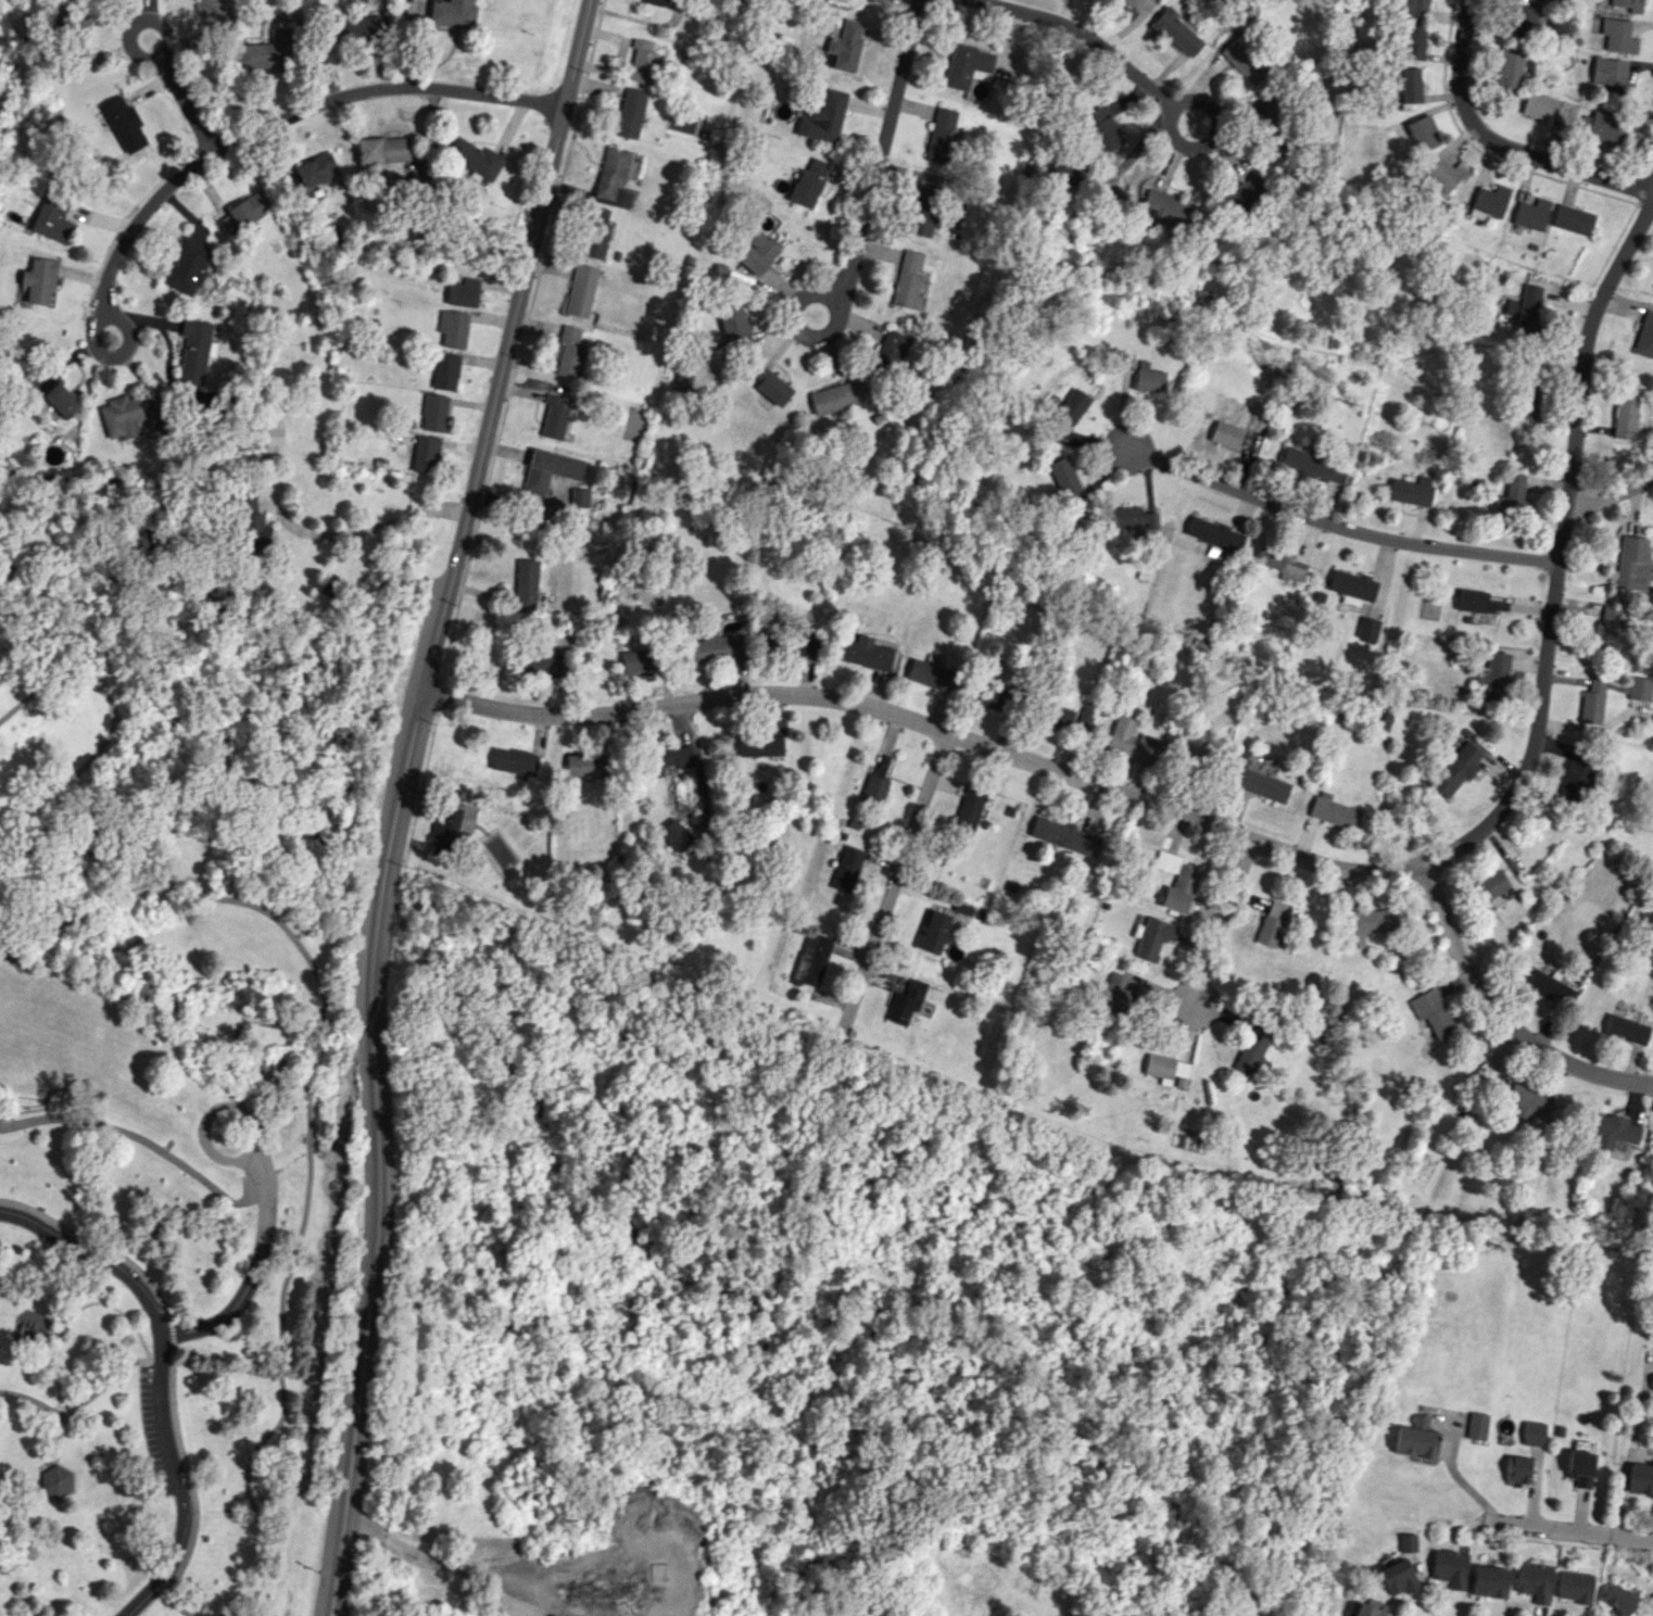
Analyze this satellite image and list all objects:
building: (655, 2)
building: (1132, 2)
building: (1627, 4)
building: (1412, 8)
building: (453, 13)
building: (215, 15)
building: (1524, 20)
building: (357, 27)
road: (1083, 29)
building: (1618, 35)
building: (1183, 38)
building: (1412, 40)
building: (846, 45)
building: (265, 50)
road: (160, 52)
building: (1242, 59)
building: (642, 61)
building: (967, 64)
building: (1509, 70)
building: (1610, 72)
building: (1410, 85)
road: (382, 88)
building: (1539, 105)
building: (630, 112)
building: (1270, 113)
building: (823, 117)
building: (1097, 122)
building: (124, 124)
building: (1602, 126)
building: (1423, 132)
building: (942, 135)
road: (1210, 138)
road: (1499, 141)
building: (388, 149)
building: (475, 157)
road: (880, 163)
building: (316, 169)
building: (611, 172)
building: (1446, 173)
building: (1063, 174)
building: (808, 184)
building: (1242, 193)
building: (1489, 201)
building: (1164, 206)
building: (244, 212)
building: (922, 212)
building: (1531, 213)
building: (53, 218)
building: (1574, 218)
road: (136, 223)
building: (595, 232)
building: (757, 251)
building: (188, 265)
building: (908, 280)
building: (38, 281)
building: (580, 290)
building: (465, 292)
building: (1512, 306)
building: (1529, 310)
building: (734, 325)
building: (453, 328)
building: (1645, 336)
road: (129, 339)
building: (194, 350)
building: (889, 351)
building: (569, 352)
building: (445, 370)
building: (1146, 377)
building: (771, 386)
building: (834, 396)
building: (61, 401)
building: (433, 412)
building: (125, 415)
building: (1065, 415)
building: (1625, 416)
building: (554, 418)
building: (1225, 434)
building: (425, 454)
building: (1311, 466)
building: (548, 469)
building: (1068, 480)
building: (1410, 490)
road: (1612, 491)
building: (1507, 495)
building: (579, 497)
building: (1132, 518)
road: (1338, 527)
road: (369, 529)
building: (1214, 533)
road: (1563, 552)
building: (1280, 561)
building: (1632, 561)
building: (526, 582)
building: (1352, 586)
building: (1477, 602)
building: (1367, 628)
building: (1608, 628)
building: (804, 643)
building: (717, 647)
building: (863, 652)
building: (636, 660)
building: (540, 662)
building: (932, 676)
building: (1494, 677)
building: (1640, 687)
building: (990, 696)
building: (1593, 699)
building: (1060, 716)
building: (1083, 717)
road: (113, 723)
road: (930, 724)
building: (1134, 743)
building: (760, 744)
building: (670, 758)
building: (515, 761)
building: (586, 765)
building: (1455, 770)
building: (1576, 778)
building: (1262, 784)
building: (873, 790)
road: (400, 798)
building: (970, 808)
building: (1334, 812)
building: (447, 831)
building: (674, 835)
building: (1064, 835)
building: (846, 869)
road: (892, 880)
building: (1176, 881)
building: (1490, 884)
building: (1272, 923)
building: (1367, 924)
road: (1221, 926)
building: (934, 932)
building: (1153, 937)
road: (335, 958)
building: (811, 959)
building: (1549, 987)
building: (1120, 993)
building: (905, 1001)
building: (1430, 1012)
road: (1500, 1015)
building: (1626, 1030)
building: (1168, 1070)
building: (1527, 1101)
road: (308, 1110)
building: (1611, 1129)
road: (140, 1140)
park: (161, 1146)
road: (260, 1257)
road: (171, 1360)
road: (160, 1380)
building: (1476, 1425)
parking lot: (156, 1431)
building: (1534, 1434)
building: (1415, 1438)
building: (1580, 1467)
building: (1517, 1469)
road: (1453, 1473)
building: (1640, 1479)
building: (55, 1480)
road: (1575, 1530)
building: (1408, 1542)
building: (1450, 1567)
building: (1397, 1577)
building: (1489, 1581)
building: (1535, 1581)
building: (1575, 1586)
building: (1620, 1600)
building: (1367, 1607)

